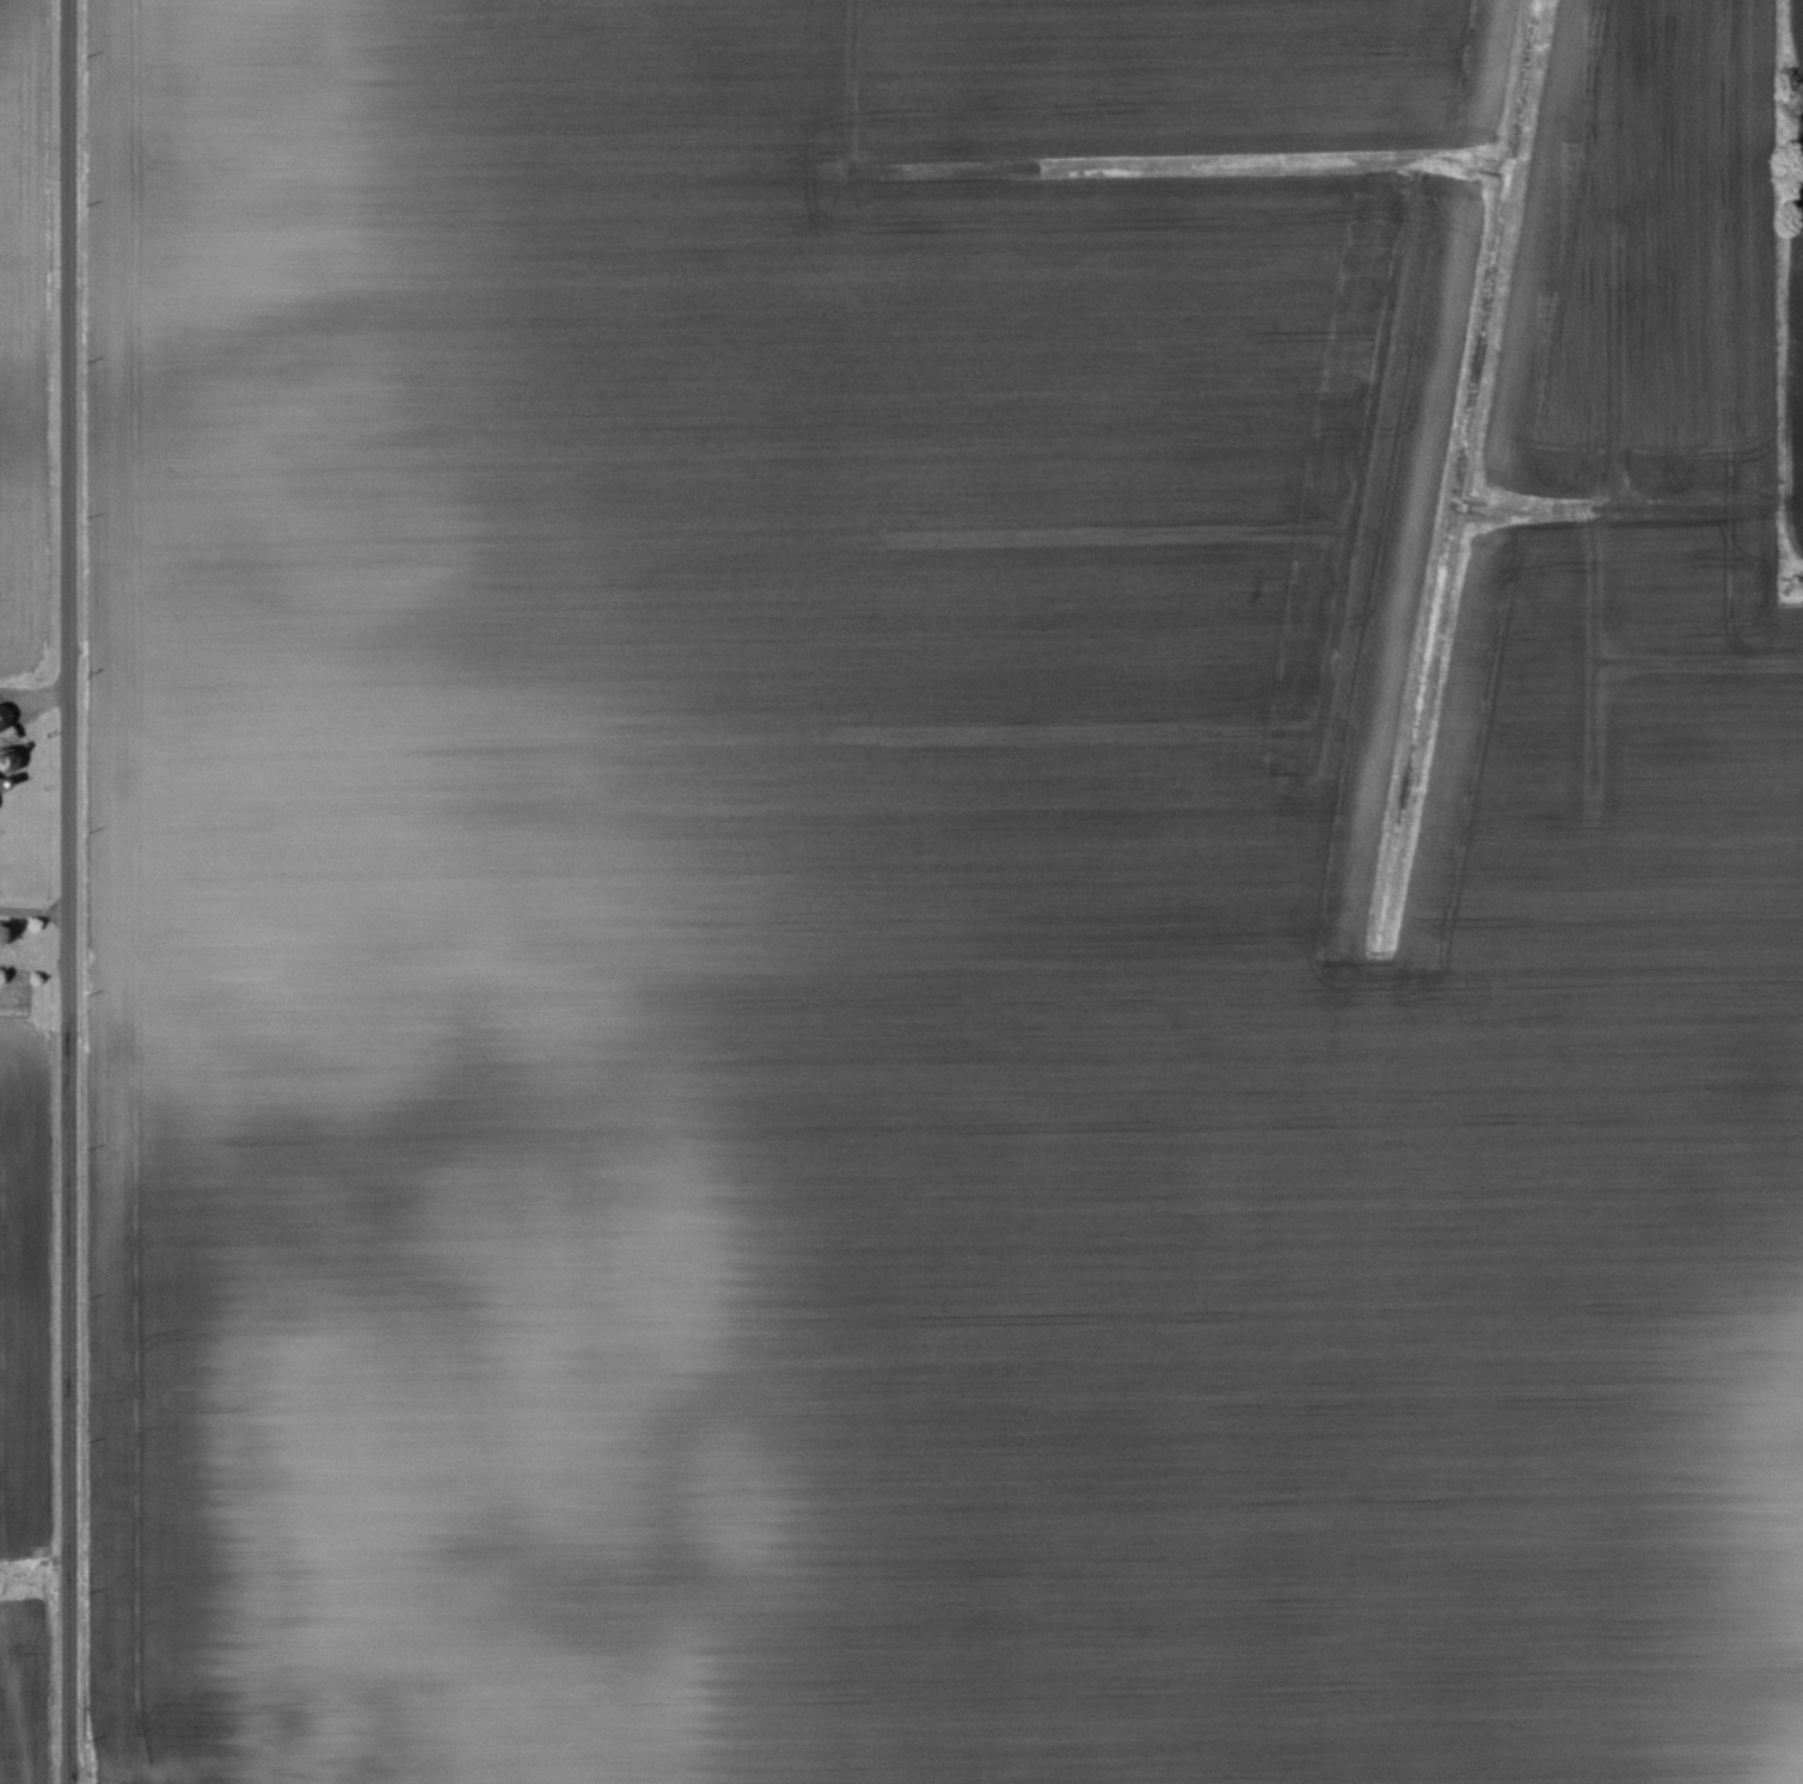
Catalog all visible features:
road: (57, 891)
road: (29, 911)

